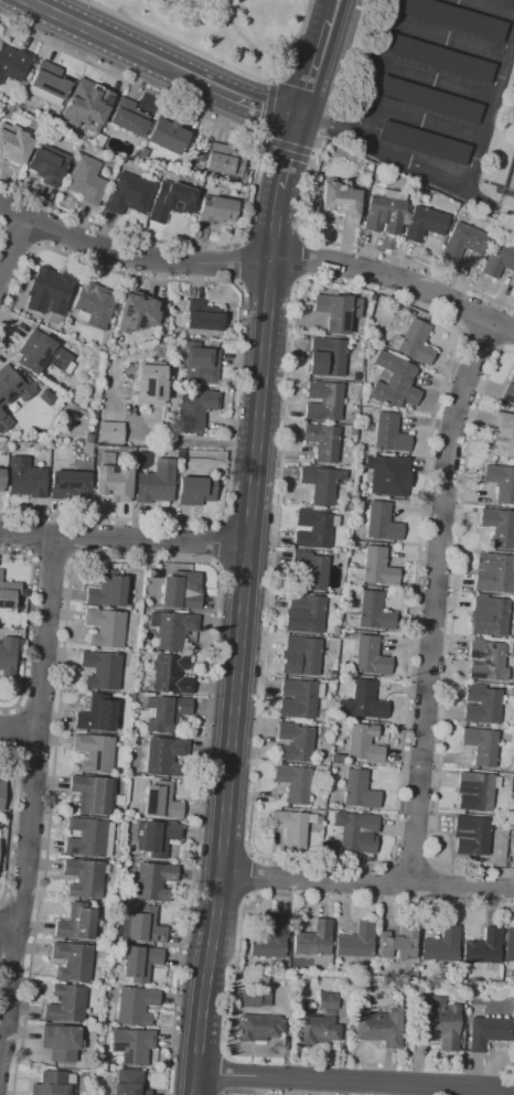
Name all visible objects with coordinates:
building: (510, 1)
road: (188, 7)
road: (489, 7)
road: (332, 11)
building: (456, 19)
rooftop solar panel: (456, 19)
park: (224, 28)
road: (101, 35)
road: (449, 39)
road: (245, 41)
building: (442, 58)
rooftop solar panel: (440, 62)
building: (13, 63)
road: (219, 63)
road: (375, 67)
road: (313, 69)
road: (437, 80)
building: (49, 84)
parking lot: (436, 89)
road: (237, 98)
building: (429, 99)
rooftop solar panel: (428, 100)
building: (86, 106)
building: (128, 118)
road: (425, 120)
building: (168, 135)
road: (263, 137)
building: (99, 140)
building: (424, 142)
building: (13, 143)
rooftop solar panel: (422, 143)
building: (90, 150)
road: (288, 150)
building: (142, 153)
building: (224, 160)
building: (47, 164)
road: (258, 174)
building: (363, 176)
park: (511, 178)
building: (87, 181)
road: (456, 181)
building: (129, 194)
building: (422, 197)
building: (171, 201)
building: (314, 202)
building: (339, 203)
road: (490, 203)
road: (11, 210)
building: (216, 211)
building: (385, 212)
building: (424, 224)
road: (45, 225)
road: (300, 226)
road: (19, 238)
building: (463, 240)
road: (13, 247)
road: (300, 259)
building: (499, 260)
road: (94, 262)
road: (243, 262)
road: (257, 262)
road: (298, 285)
building: (50, 291)
building: (372, 297)
building: (94, 305)
road: (461, 307)
rooftop solar panel: (127, 312)
building: (137, 312)
building: (338, 312)
building: (203, 319)
rooftop solar panel: (341, 321)
rooftop solar panel: (141, 325)
building: (362, 334)
road: (482, 341)
road: (508, 341)
building: (415, 343)
building: (44, 355)
building: (326, 356)
rooftop solar panel: (43, 358)
rooftop solar panel: (55, 363)
building: (199, 365)
building: (355, 376)
building: (512, 377)
building: (394, 382)
rooftop solar panel: (144, 383)
building: (151, 383)
rooftop solar panel: (19, 384)
building: (12, 393)
rooftop solar panel: (154, 393)
rooftop solar panel: (328, 394)
building: (508, 394)
rooftop solar panel: (13, 395)
rooftop solar panel: (507, 398)
building: (323, 401)
building: (194, 410)
rooftop solar panel: (314, 416)
building: (365, 428)
building: (352, 430)
building: (110, 432)
building: (389, 433)
building: (503, 434)
building: (88, 439)
building: (322, 441)
road: (194, 442)
building: (181, 453)
building: (388, 475)
building: (28, 476)
building: (2, 480)
building: (501, 482)
building: (113, 483)
building: (156, 483)
building: (322, 483)
building: (68, 484)
building: (195, 491)
road: (222, 512)
road: (219, 522)
building: (382, 523)
building: (500, 526)
building: (313, 528)
road: (124, 540)
road: (218, 543)
road: (14, 551)
road: (31, 557)
road: (53, 557)
road: (141, 557)
road: (215, 562)
building: (311, 569)
building: (373, 570)
building: (494, 573)
building: (107, 590)
building: (181, 590)
building: (341, 591)
building: (8, 593)
road: (436, 598)
rooftop solar panel: (1, 604)
building: (304, 613)
building: (371, 613)
building: (489, 615)
building: (105, 627)
building: (172, 629)
road: (450, 636)
road: (26, 640)
road: (240, 640)
building: (20, 646)
building: (512, 651)
building: (300, 655)
rooftop solar panel: (474, 655)
building: (7, 657)
building: (370, 657)
building: (488, 661)
building: (101, 669)
building: (170, 675)
rooftop solar panel: (475, 677)
building: (511, 693)
building: (299, 699)
building: (366, 701)
building: (482, 705)
building: (165, 713)
building: (97, 715)
road: (19, 729)
building: (295, 742)
building: (365, 743)
building: (481, 744)
building: (95, 753)
building: (164, 756)
building: (293, 783)
building: (358, 790)
building: (476, 791)
building: (1, 793)
building: (93, 794)
road: (32, 797)
building: (118, 801)
rooftop solar panel: (146, 802)
building: (160, 802)
road: (10, 817)
building: (292, 828)
building: (356, 831)
building: (513, 831)
building: (471, 835)
building: (156, 837)
building: (89, 838)
building: (325, 849)
road: (413, 861)
road: (250, 877)
building: (84, 878)
building: (153, 881)
road: (367, 882)
road: (343, 900)
building: (77, 922)
road: (8, 925)
building: (143, 925)
building: (271, 940)
building: (314, 940)
building: (356, 941)
building: (398, 943)
building: (510, 944)
building: (441, 945)
building: (484, 947)
building: (73, 960)
building: (140, 962)
building: (253, 998)
building: (66, 1003)
building: (136, 1006)
building: (319, 1022)
building: (440, 1022)
building: (378, 1027)
building: (258, 1028)
building: (488, 1031)
building: (61, 1042)
building: (132, 1044)
road: (354, 1081)
building: (129, 1083)
building: (54, 1084)

